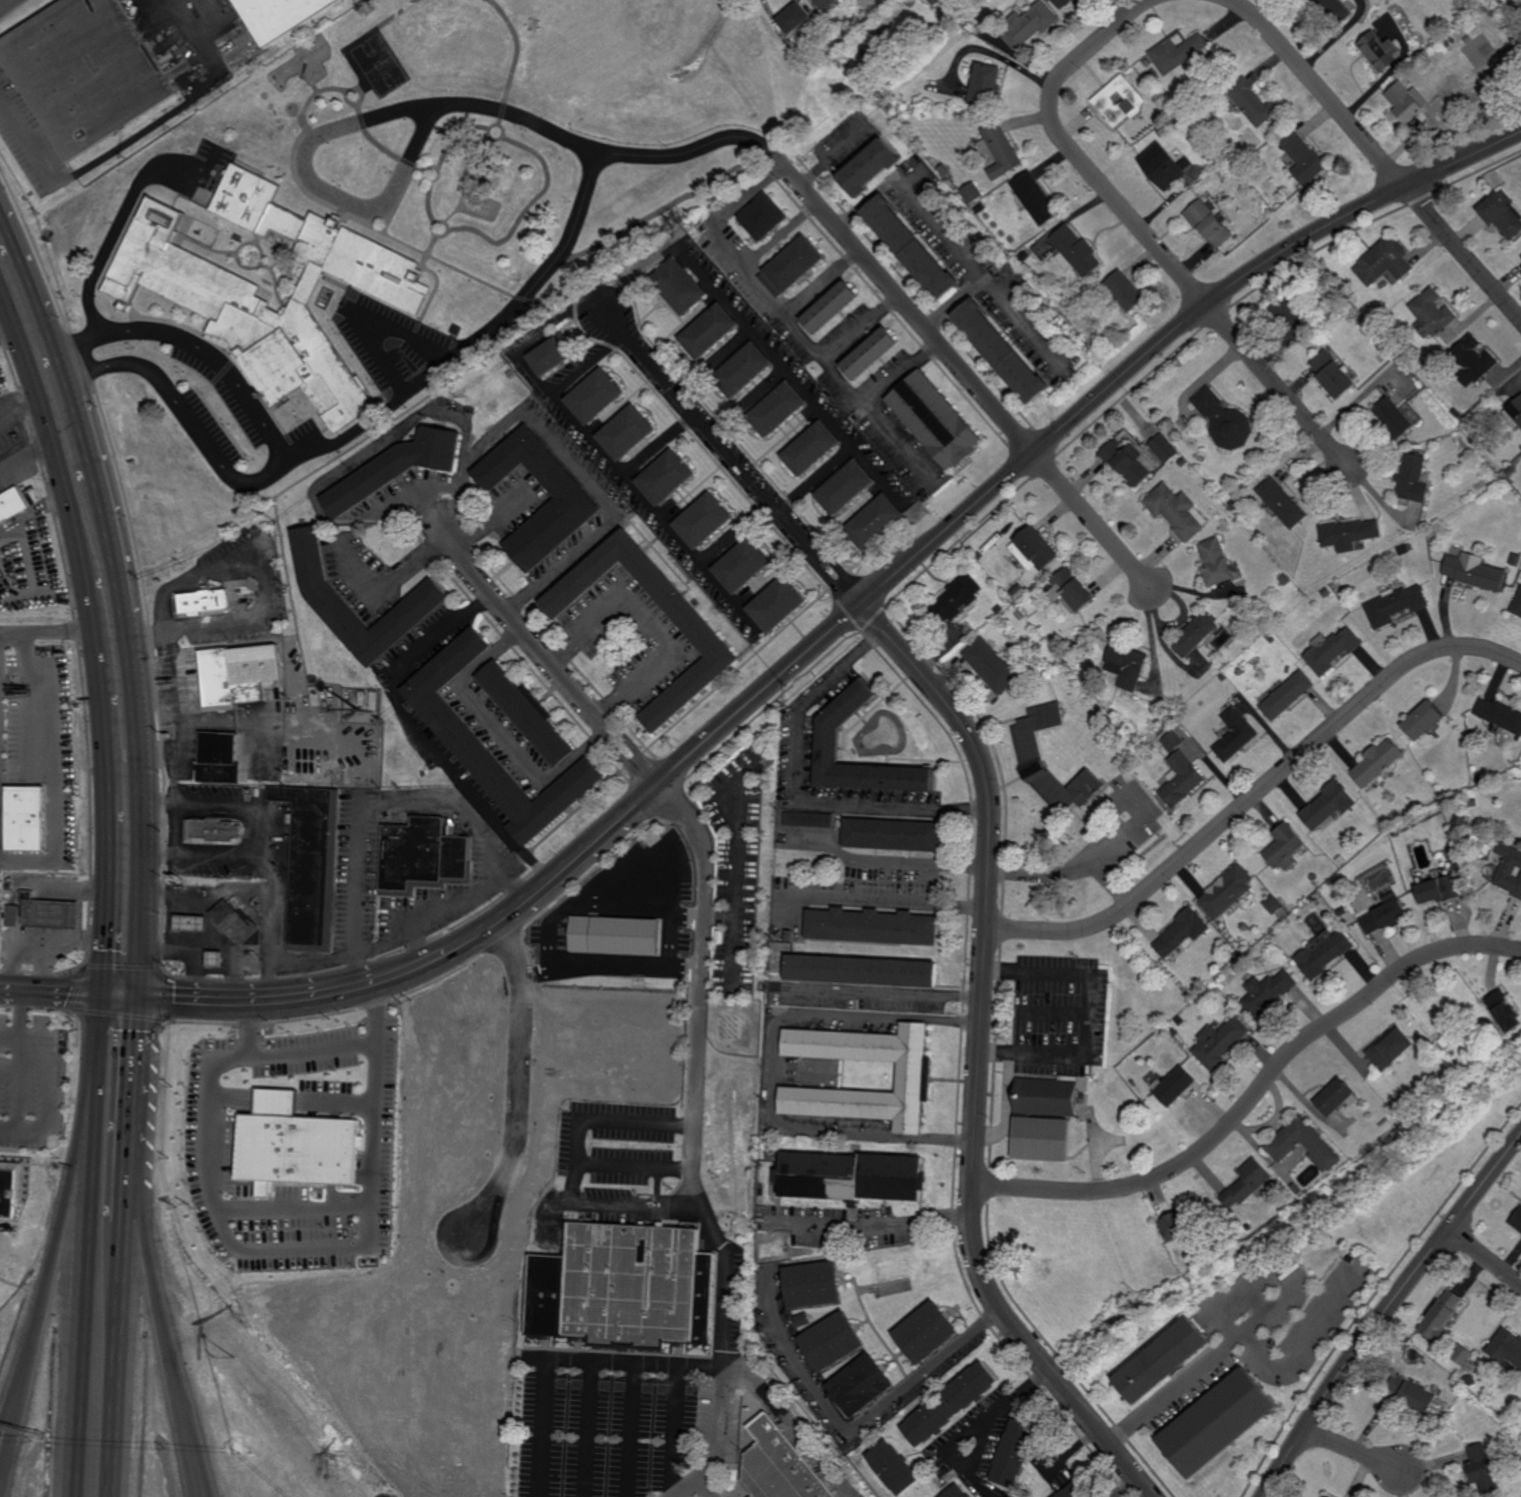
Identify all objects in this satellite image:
building: (1083, 1)
road: (1, 2)
road: (4, 2)
building: (1065, 2)
building: (828, 3)
building: (1340, 10)
building: (282, 15)
building: (797, 15)
building: (1029, 23)
building: (808, 32)
building: (1436, 35)
building: (1446, 45)
building: (1381, 49)
building: (1178, 50)
building: (88, 72)
building: (985, 83)
building: (1104, 99)
building: (1253, 101)
building: (1408, 101)
road: (186, 104)
road: (477, 107)
building: (1226, 142)
road: (32, 148)
building: (1002, 150)
road: (1073, 150)
road: (1378, 156)
building: (1303, 159)
building: (872, 165)
building: (1165, 165)
building: (946, 170)
building: (972, 193)
building: (1036, 197)
road: (1169, 201)
building: (981, 207)
building: (1268, 213)
building: (1503, 214)
building: (767, 217)
building: (1209, 221)
road: (939, 229)
road: (114, 233)
road: (779, 235)
building: (991, 235)
building: (911, 247)
building: (1000, 247)
building: (1077, 250)
building: (1005, 252)
building: (1384, 262)
building: (797, 263)
building: (991, 265)
road: (546, 268)
road: (33, 274)
road: (821, 282)
road: (759, 285)
building: (681, 286)
building: (1126, 291)
building: (217, 299)
building: (1343, 305)
building: (832, 307)
building: (1068, 307)
building: (1432, 314)
building: (1291, 320)
road: (1022, 324)
road: (860, 326)
road: (379, 329)
building: (457, 329)
building: (1368, 331)
building: (711, 332)
road: (755, 334)
road: (1168, 336)
building: (1089, 339)
building: (1001, 352)
building: (873, 354)
building: (552, 357)
building: (1474, 358)
road: (67, 364)
road: (589, 365)
building: (745, 371)
building: (511, 374)
building: (1333, 376)
road: (970, 379)
road: (1277, 386)
building: (597, 396)
road: (1358, 400)
building: (1519, 402)
building: (780, 410)
road: (867, 410)
building: (1456, 414)
road: (521, 415)
road: (21, 417)
building: (1393, 419)
building: (936, 420)
building: (1225, 420)
building: (1520, 421)
road: (50, 433)
building: (628, 433)
road: (88, 434)
road: (659, 446)
building: (1164, 449)
building: (813, 450)
road: (600, 451)
road: (27, 458)
road: (279, 461)
road: (735, 461)
building: (1184, 462)
building: (1127, 464)
building: (1501, 466)
building: (398, 469)
building: (1511, 471)
building: (1412, 479)
building: (667, 480)
road: (819, 480)
building: (848, 489)
building: (575, 498)
building: (1282, 503)
building: (1234, 504)
building: (14, 506)
building: (1176, 511)
road: (616, 515)
road: (32, 516)
road: (496, 521)
building: (705, 523)
building: (878, 523)
road: (737, 535)
building: (1349, 535)
building: (1402, 548)
building: (1037, 549)
road: (117, 553)
road: (565, 561)
building: (1216, 562)
building: (743, 564)
building: (1474, 573)
road: (201, 578)
building: (1519, 579)
building: (1285, 580)
road: (395, 581)
road: (9, 587)
building: (1073, 587)
building: (1017, 590)
road: (1195, 592)
building: (1325, 593)
building: (955, 598)
building: (206, 600)
building: (779, 602)
road: (44, 603)
building: (1517, 604)
road: (516, 605)
building: (1395, 605)
building: (999, 609)
building: (413, 611)
road: (650, 623)
road: (47, 630)
building: (1196, 634)
building: (708, 636)
building: (1271, 639)
building: (1073, 644)
building: (1332, 650)
road: (547, 657)
building: (1128, 664)
building: (991, 665)
building: (1239, 671)
building: (1222, 677)
building: (228, 680)
building: (1287, 695)
building: (363, 698)
road: (162, 699)
building: (375, 700)
building: (530, 711)
building: (1500, 714)
building: (1423, 719)
building: (460, 732)
road: (421, 733)
road: (500, 734)
building: (1235, 734)
building: (1172, 741)
building: (831, 745)
building: (222, 757)
building: (1033, 762)
building: (1377, 762)
building: (1478, 778)
building: (1181, 780)
road: (107, 788)
road: (795, 793)
road: (1256, 793)
road: (452, 799)
building: (1473, 803)
building: (1328, 805)
road: (145, 806)
building: (1419, 806)
building: (26, 819)
building: (1458, 819)
building: (810, 820)
building: (213, 831)
building: (1393, 831)
building: (895, 835)
road: (1124, 840)
road: (269, 843)
building: (1284, 847)
road: (207, 853)
building: (423, 853)
building: (309, 862)
road: (886, 862)
building: (1340, 862)
building: (1508, 869)
road: (1068, 870)
building: (784, 884)
building: (1460, 885)
building: (9, 887)
road: (541, 887)
road: (736, 889)
road: (357, 890)
building: (1437, 890)
building: (1228, 891)
road: (208, 898)
road: (454, 902)
road: (885, 902)
building: (1272, 905)
building: (1341, 911)
building: (46, 914)
building: (1385, 914)
road: (719, 916)
building: (1330, 917)
building: (235, 921)
road: (170, 922)
building: (193, 924)
building: (874, 927)
building: (1182, 932)
building: (791, 936)
road: (384, 945)
road: (207, 948)
building: (1323, 955)
building: (217, 960)
road: (214, 970)
road: (192, 972)
building: (862, 972)
road: (235, 973)
road: (51, 989)
traffic signals: (103, 993)
road: (881, 993)
road: (122, 994)
building: (1266, 994)
traffic signals: (142, 996)
building: (1504, 1010)
road: (1085, 1017)
road: (251, 1028)
building: (1163, 1033)
building: (1174, 1033)
road: (10, 1035)
building: (1218, 1043)
building: (1390, 1048)
road: (978, 1059)
road: (19, 1066)
road: (774, 1068)
building: (915, 1075)
road: (517, 1081)
building: (1175, 1087)
building: (1083, 1088)
road: (1255, 1093)
road: (137, 1096)
building: (1046, 1097)
building: (1335, 1098)
building: (1400, 1107)
road: (1006, 1108)
building: (1389, 1123)
building: (1041, 1140)
road: (693, 1144)
building: (1283, 1145)
building: (297, 1146)
building: (852, 1178)
building: (1246, 1184)
building: (1306, 1191)
building: (7, 1193)
road: (625, 1203)
road: (131, 1209)
road: (295, 1211)
building: (1515, 1219)
building: (1179, 1225)
road: (870, 1227)
building: (1248, 1227)
road: (53, 1239)
road: (85, 1244)
road: (258, 1247)
building: (1208, 1256)
road: (1484, 1257)
building: (813, 1283)
building: (622, 1287)
road: (159, 1298)
road: (1385, 1312)
building: (1440, 1314)
building: (801, 1320)
road: (1223, 1324)
building: (926, 1331)
road: (1308, 1339)
building: (832, 1340)
building: (1506, 1349)
road: (562, 1358)
road: (123, 1359)
building: (1160, 1361)
road: (1200, 1369)
building: (862, 1384)
building: (1411, 1395)
building: (949, 1403)
road: (1007, 1405)
road: (6, 1420)
road: (788, 1424)
building: (1214, 1424)
road: (850, 1425)
road: (588, 1429)
road: (629, 1430)
road: (673, 1431)
road: (188, 1433)
road: (1353, 1449)
road: (1072, 1451)
road: (6, 1453)
building: (1013, 1453)
building: (780, 1465)
building: (893, 1467)
building: (1479, 1468)
road: (969, 1472)
road: (197, 1481)
road: (201, 1481)
road: (704, 1487)
road: (1123, 1487)
building: (1075, 1490)
building: (955, 1492)

